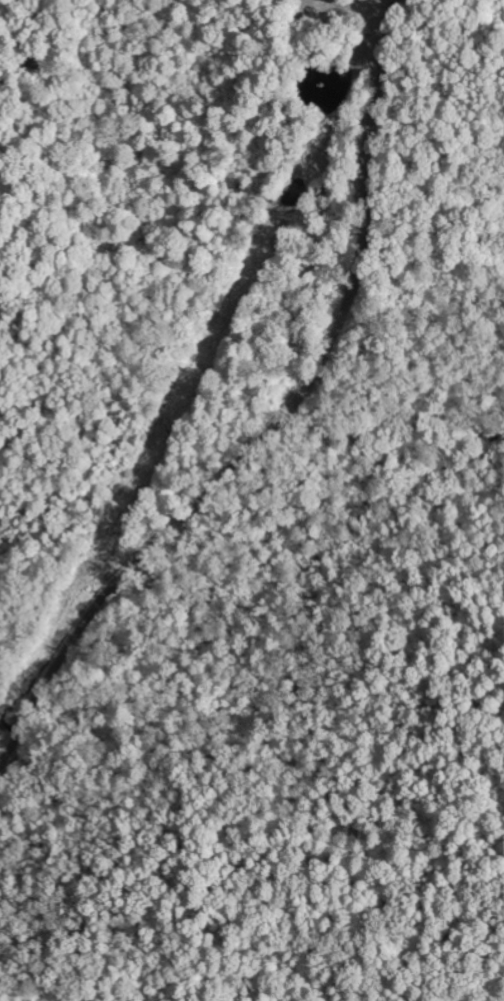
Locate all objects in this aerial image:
road: (278, 421)

